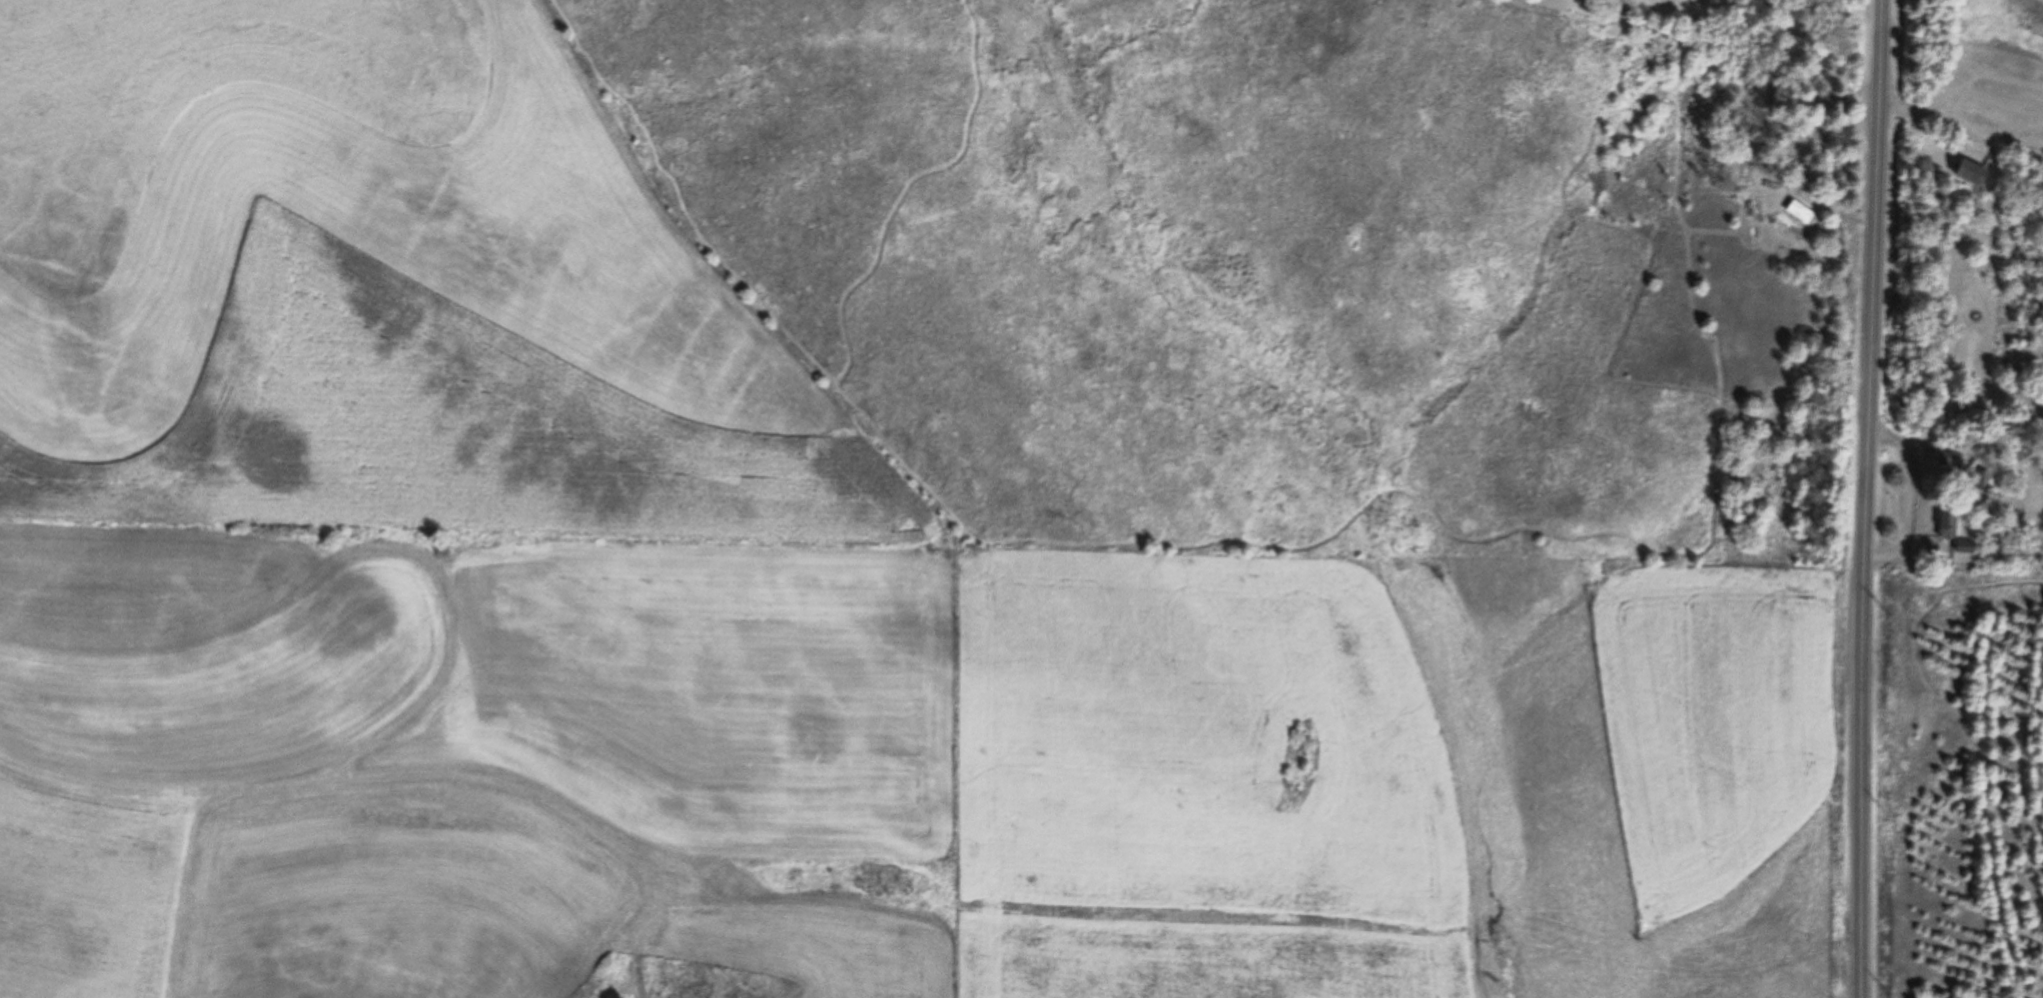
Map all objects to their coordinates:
building: (1970, 172)
road: (1954, 217)
building: (1949, 459)
building: (1982, 478)
road: (1866, 498)
road: (1912, 499)
building: (1947, 521)
building: (1964, 552)

